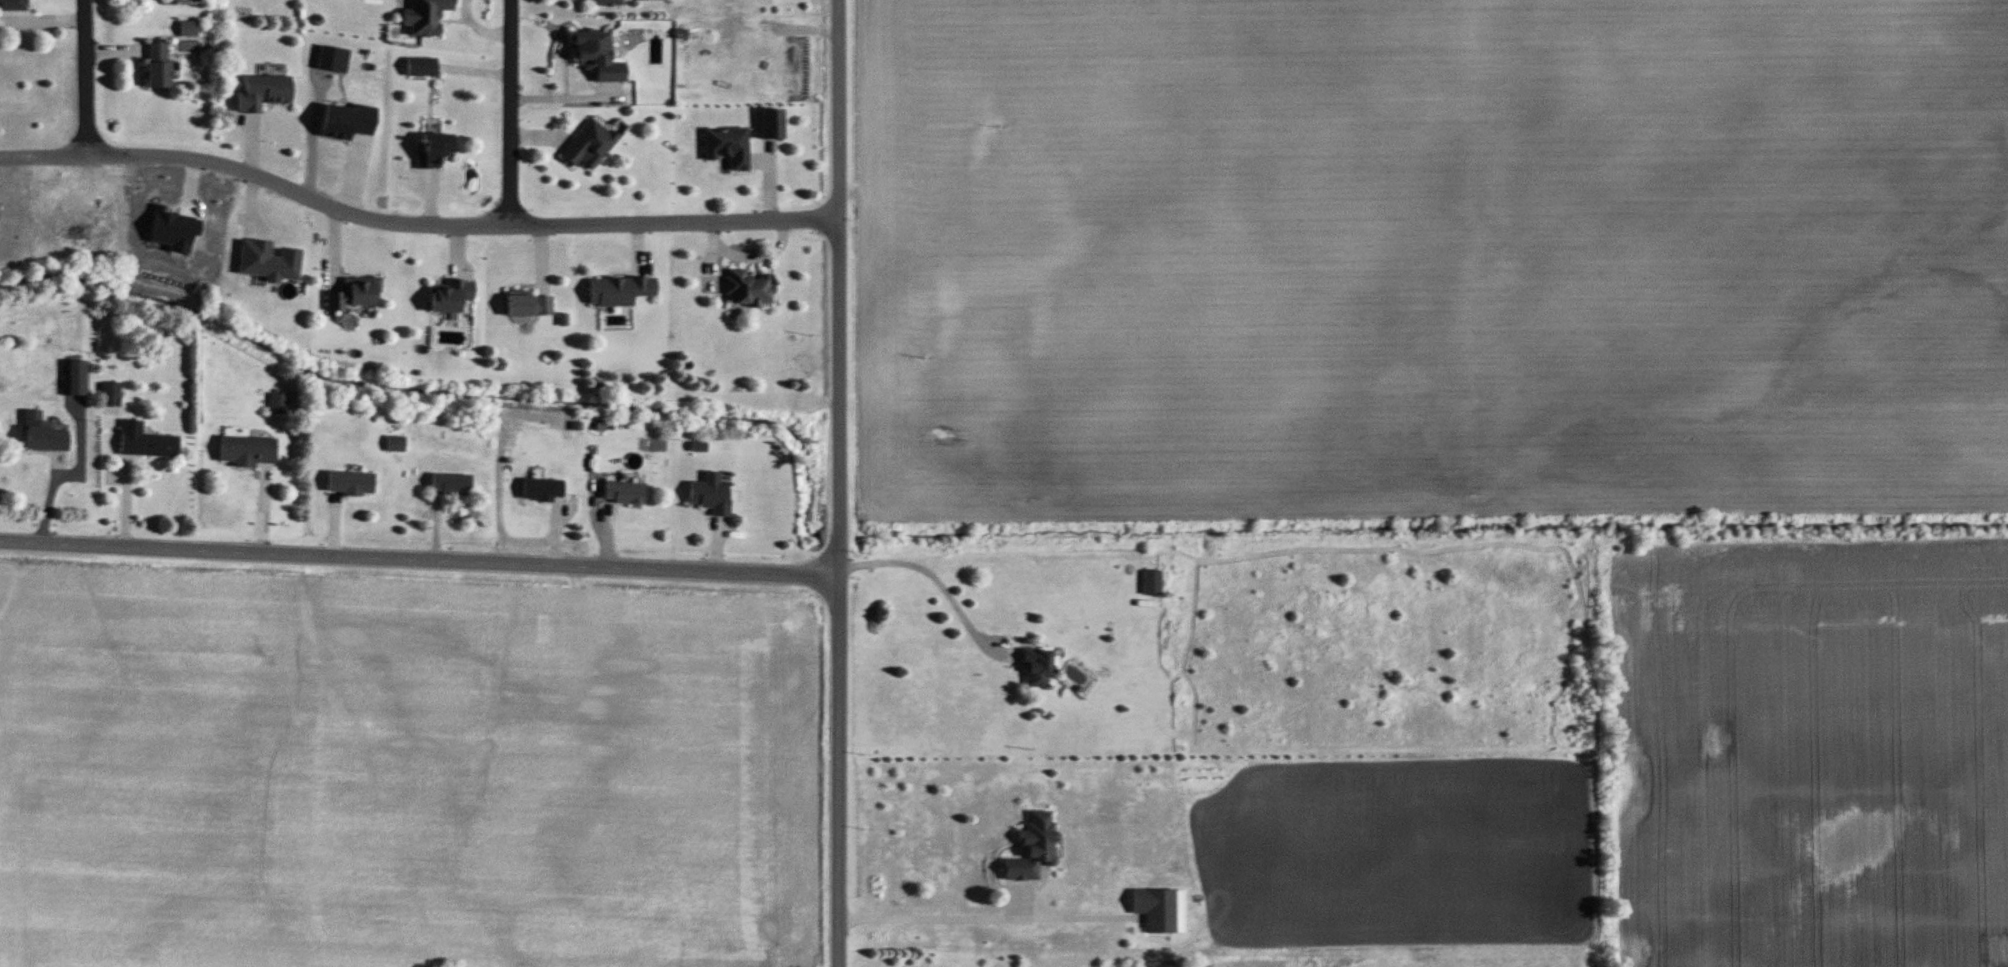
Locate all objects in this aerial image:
building: (609, 3)
building: (12, 5)
building: (425, 17)
building: (188, 29)
building: (596, 58)
building: (157, 66)
building: (421, 68)
road: (85, 78)
building: (263, 94)
road: (561, 97)
road: (502, 110)
building: (770, 123)
building: (589, 146)
building: (727, 146)
building: (434, 151)
road: (415, 224)
building: (748, 289)
building: (619, 291)
building: (353, 294)
building: (450, 295)
building: (529, 305)
building: (74, 378)
building: (110, 396)
building: (278, 404)
building: (41, 434)
building: (145, 441)
building: (395, 444)
building: (245, 451)
building: (349, 483)
road: (839, 483)
building: (450, 484)
building: (541, 490)
building: (623, 493)
building: (710, 494)
road: (420, 558)
road: (936, 581)
building: (1151, 583)
building: (1036, 667)
building: (1032, 848)
building: (1160, 910)
road: (922, 914)

